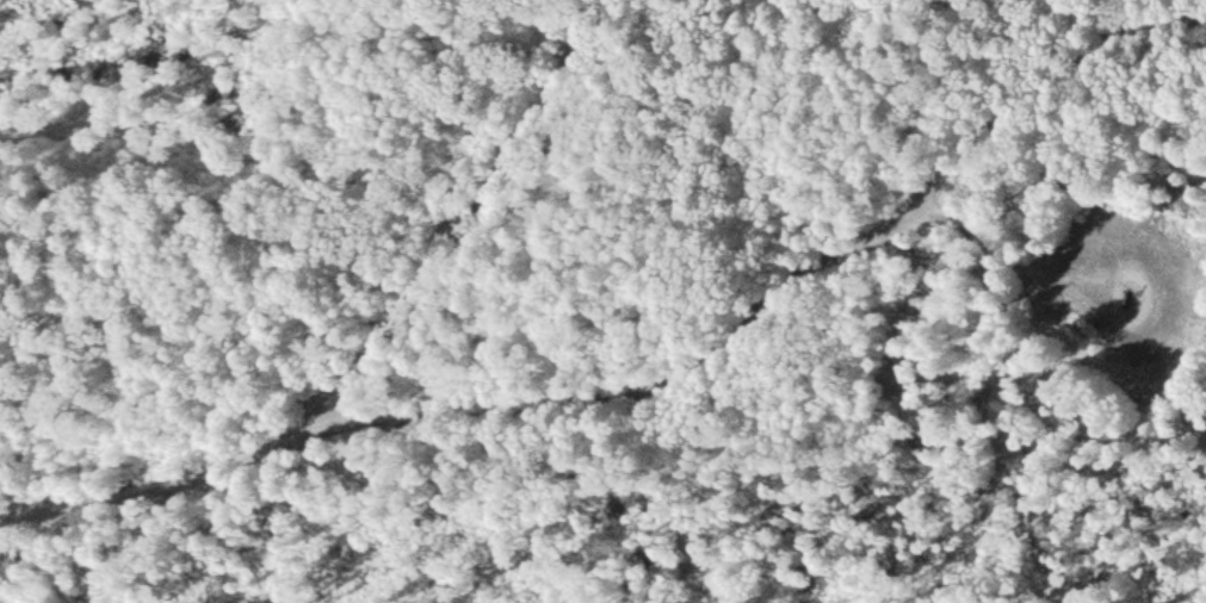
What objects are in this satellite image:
road: (466, 210)
petroleum well: (1122, 291)
road: (662, 391)

